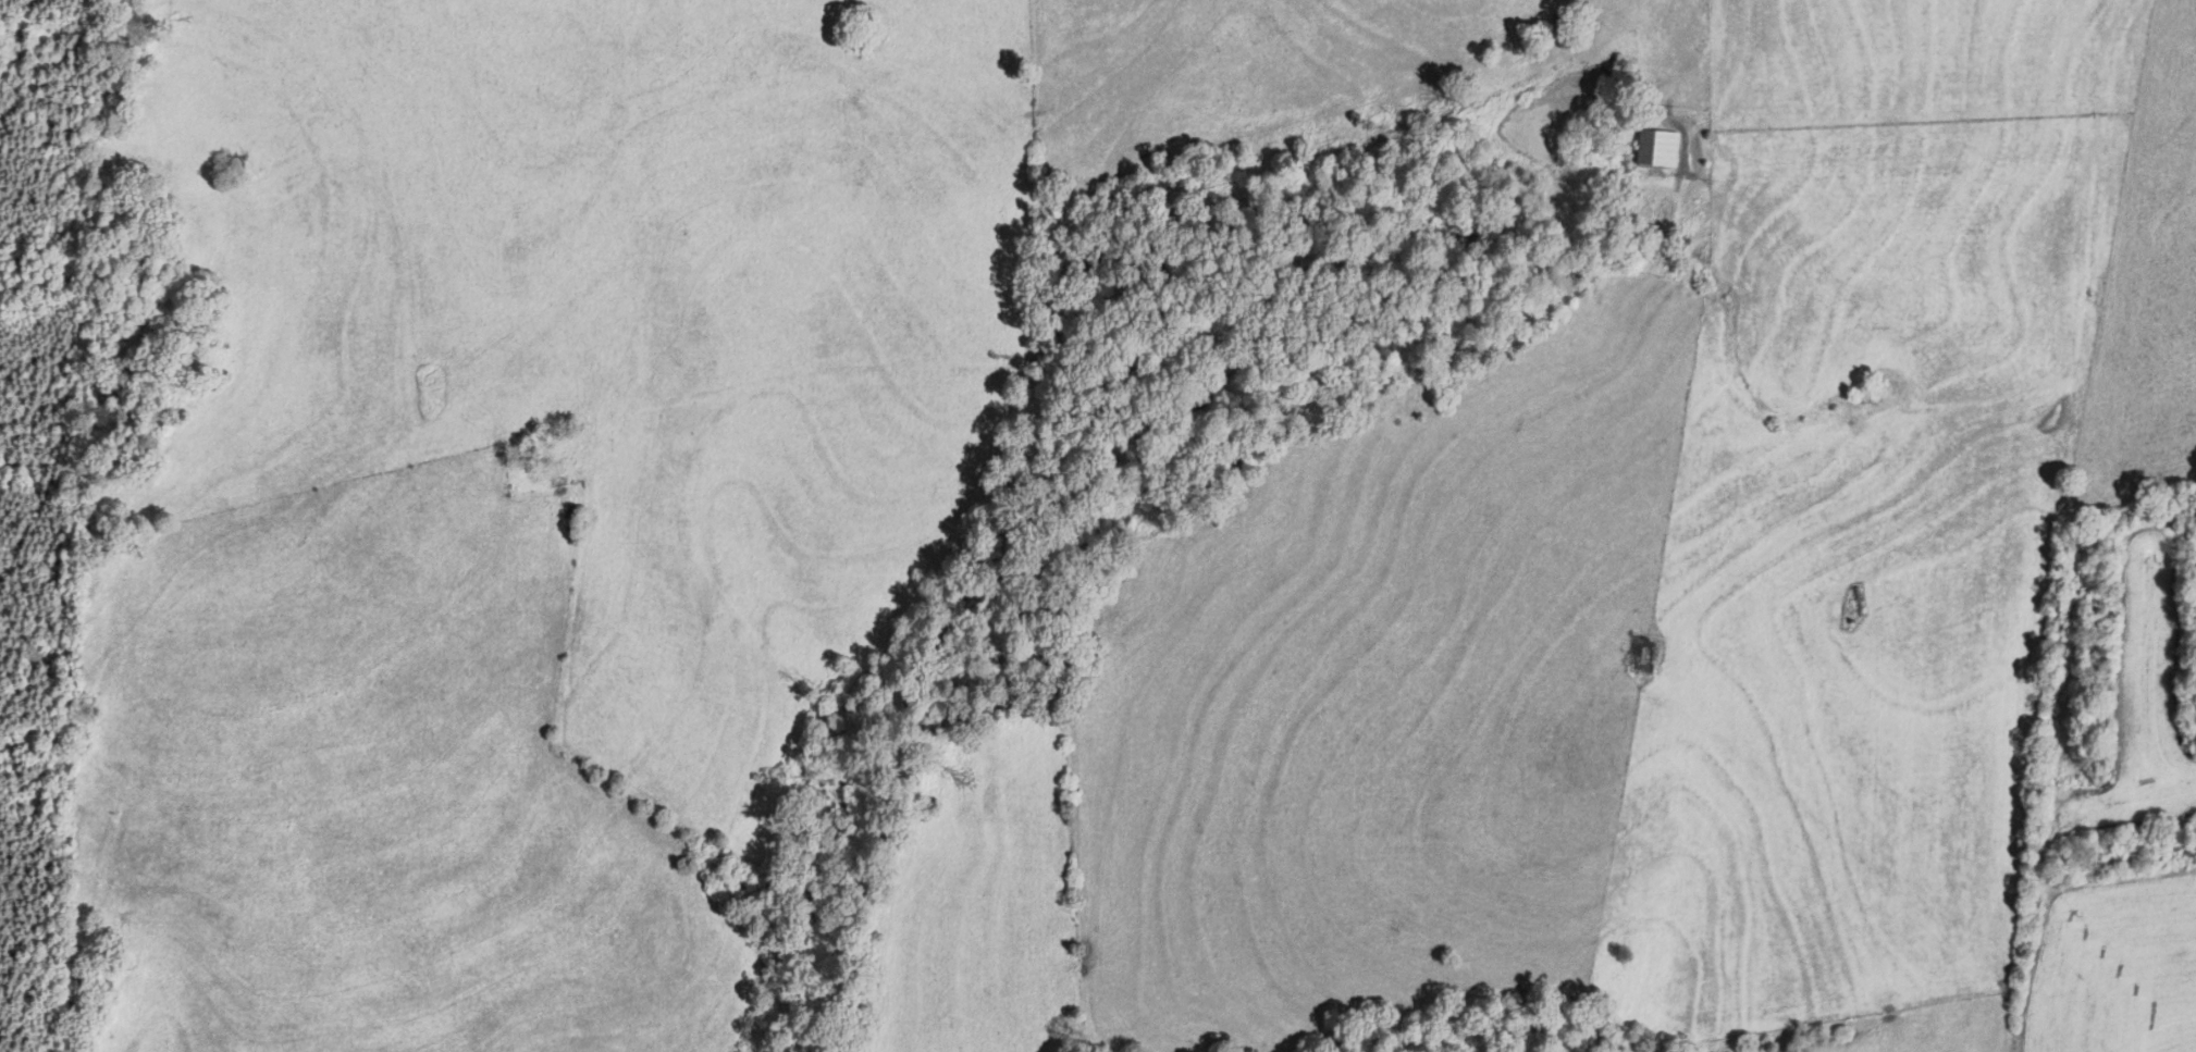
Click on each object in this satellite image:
building: (1658, 148)

